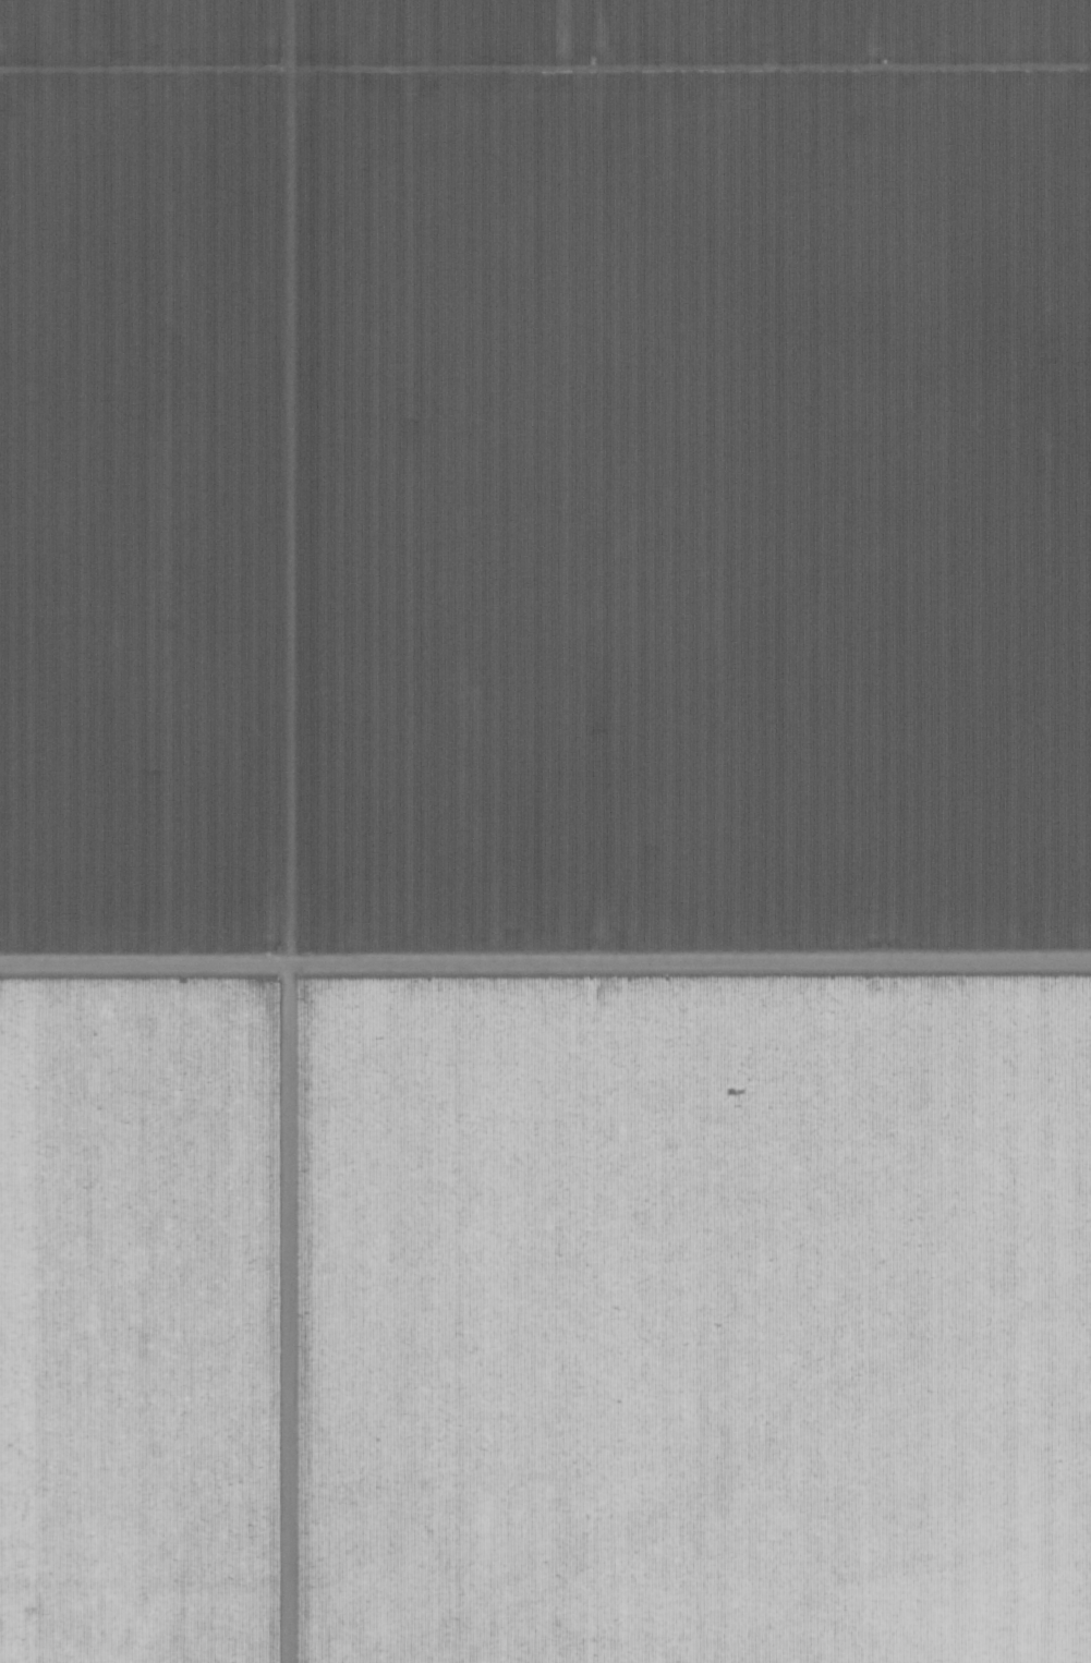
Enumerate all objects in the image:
crop: (545, 832)

